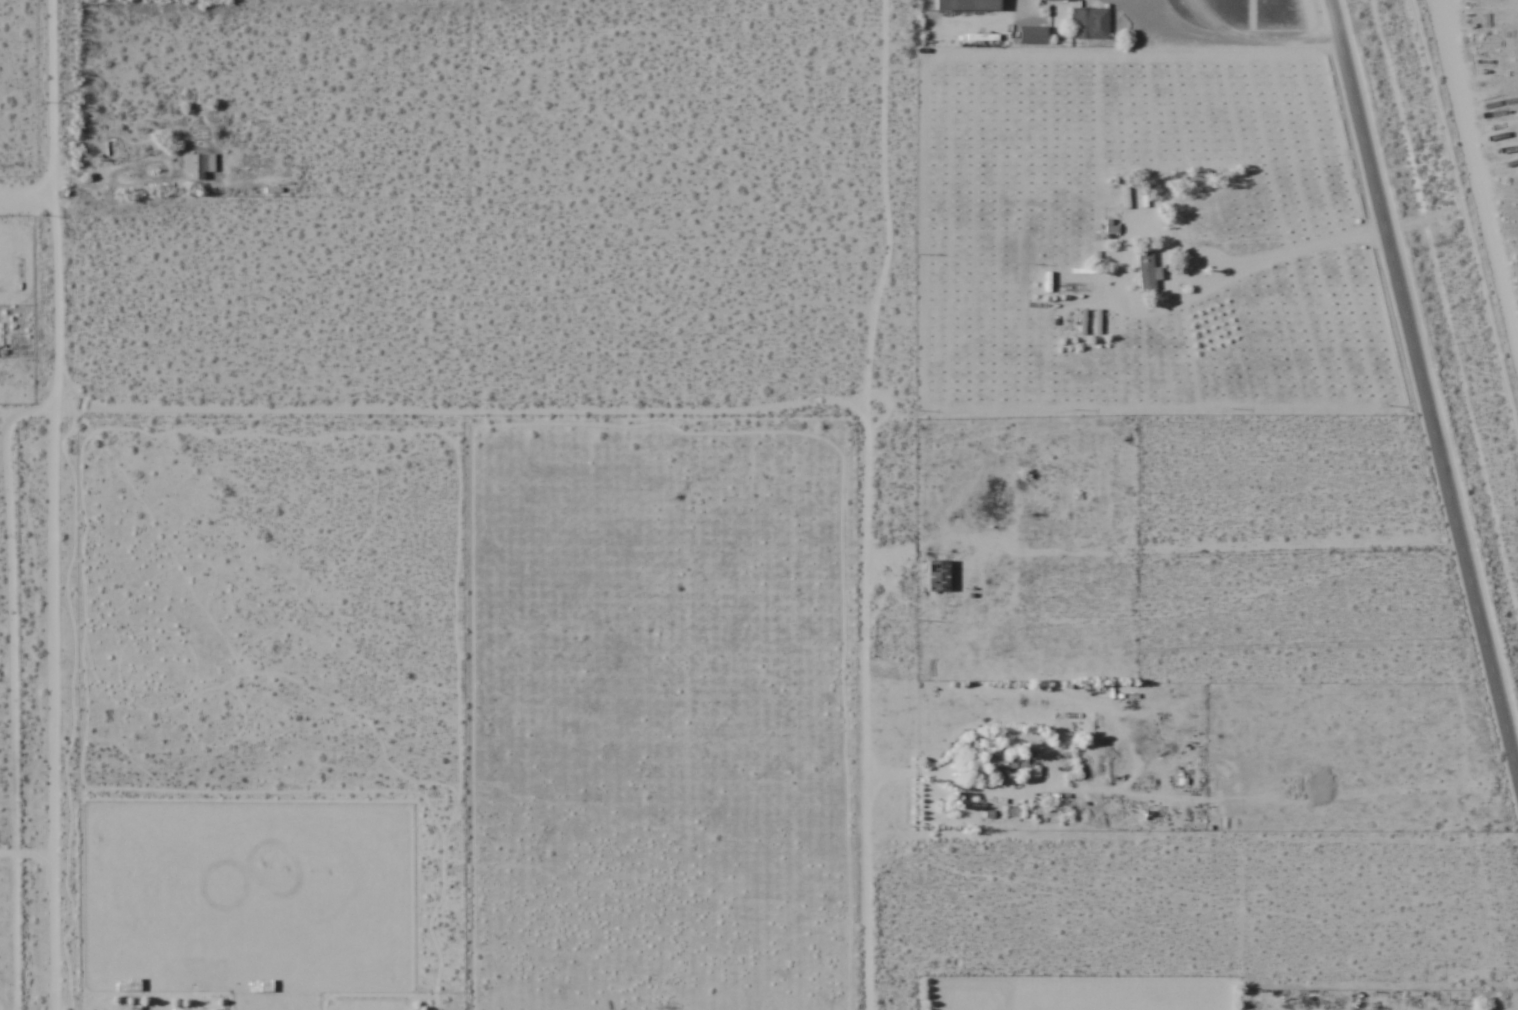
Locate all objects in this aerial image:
building: (1063, 0)
building: (967, 5)
building: (1089, 23)
building: (1032, 35)
road: (52, 147)
building: (197, 166)
road: (26, 200)
building: (1146, 270)
building: (1156, 278)
road: (57, 354)
road: (1424, 388)
road: (863, 503)
building: (938, 574)
road: (13, 691)
building: (1000, 762)
building: (1180, 778)
building: (127, 984)
building: (260, 985)

